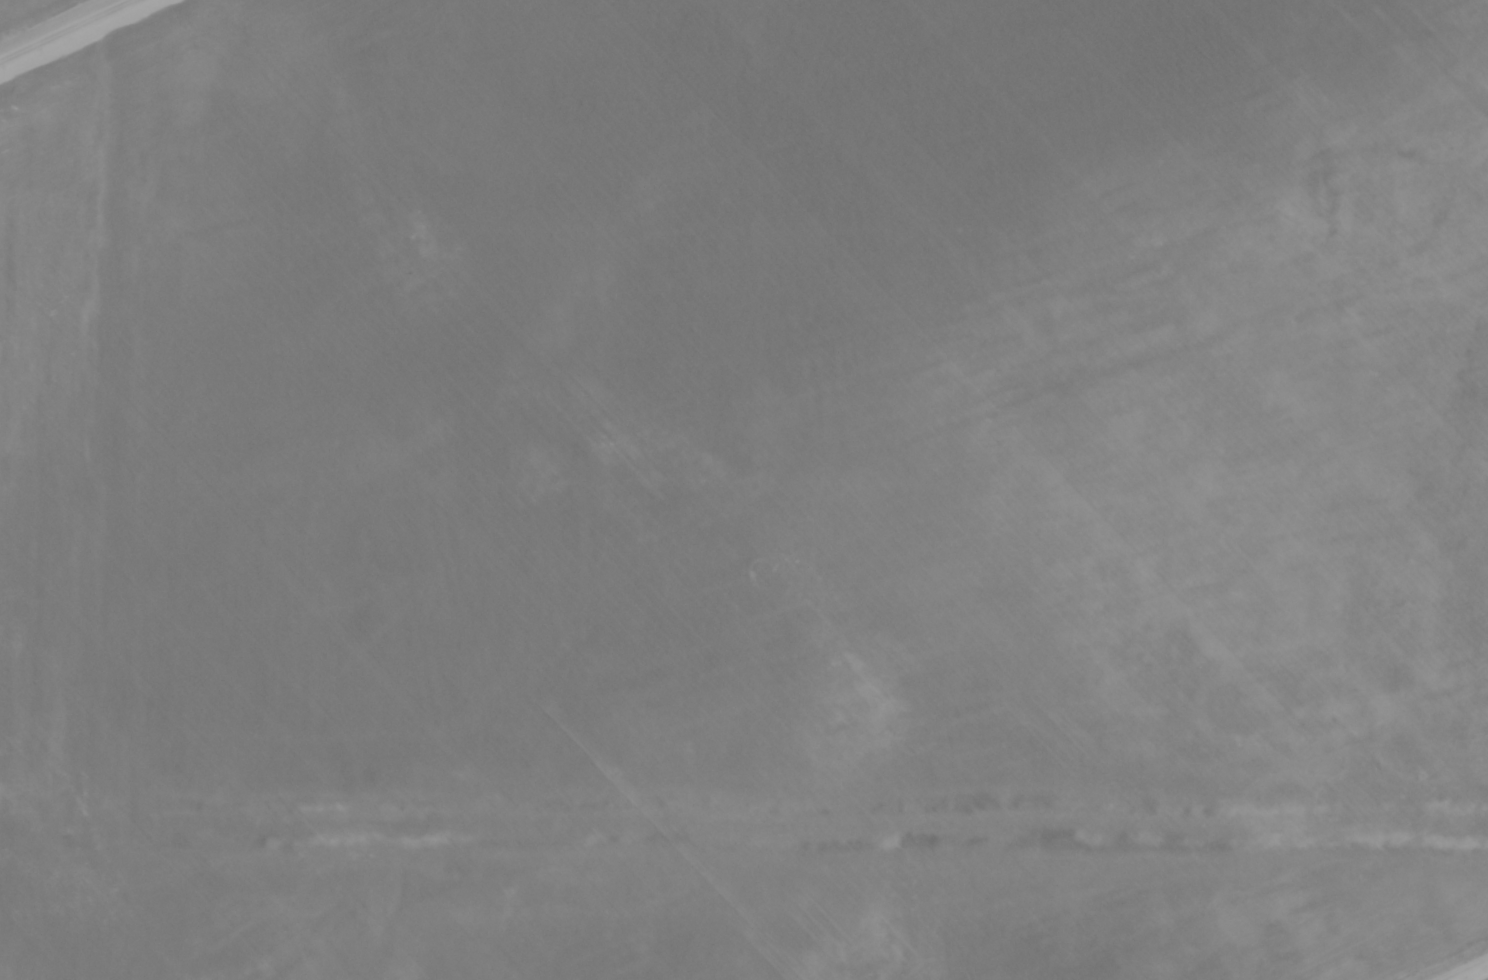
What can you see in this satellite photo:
road: (52, 412)
road: (744, 830)
wastewater plant: (12, 875)

